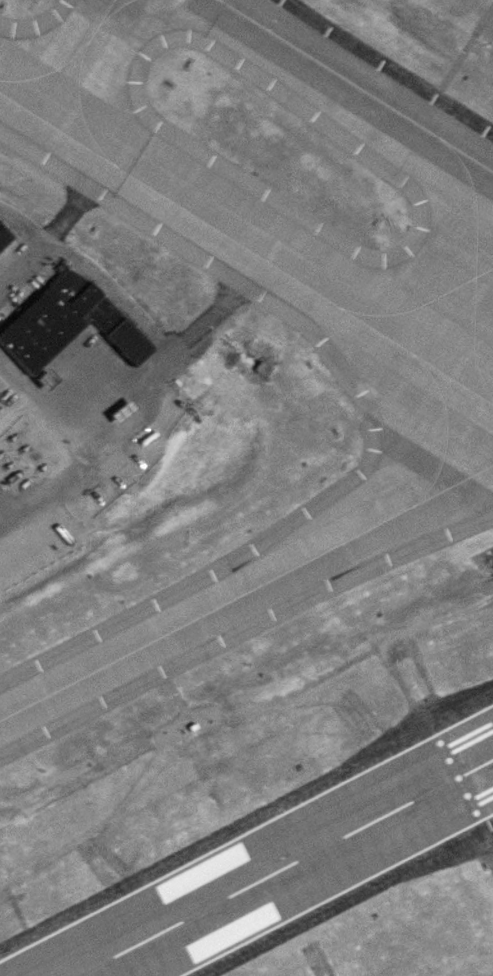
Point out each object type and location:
airport taxiway: (110, 2)
airport taxiway: (113, 10)
airport taxiway: (47, 72)
airport taxiway: (76, 83)
airport taxiway: (355, 85)
building: (3, 234)
airport taxiway: (246, 249)
airport taxiway: (478, 264)
airport taxiway: (418, 306)
building: (65, 321)
building: (44, 379)
airport taxiway: (446, 434)
parking lot: (75, 443)
airport: (246, 488)
airport taxiway: (246, 591)
road: (412, 700)
airport runway: (283, 868)
road: (324, 960)
airport taxiway: (84, 972)

